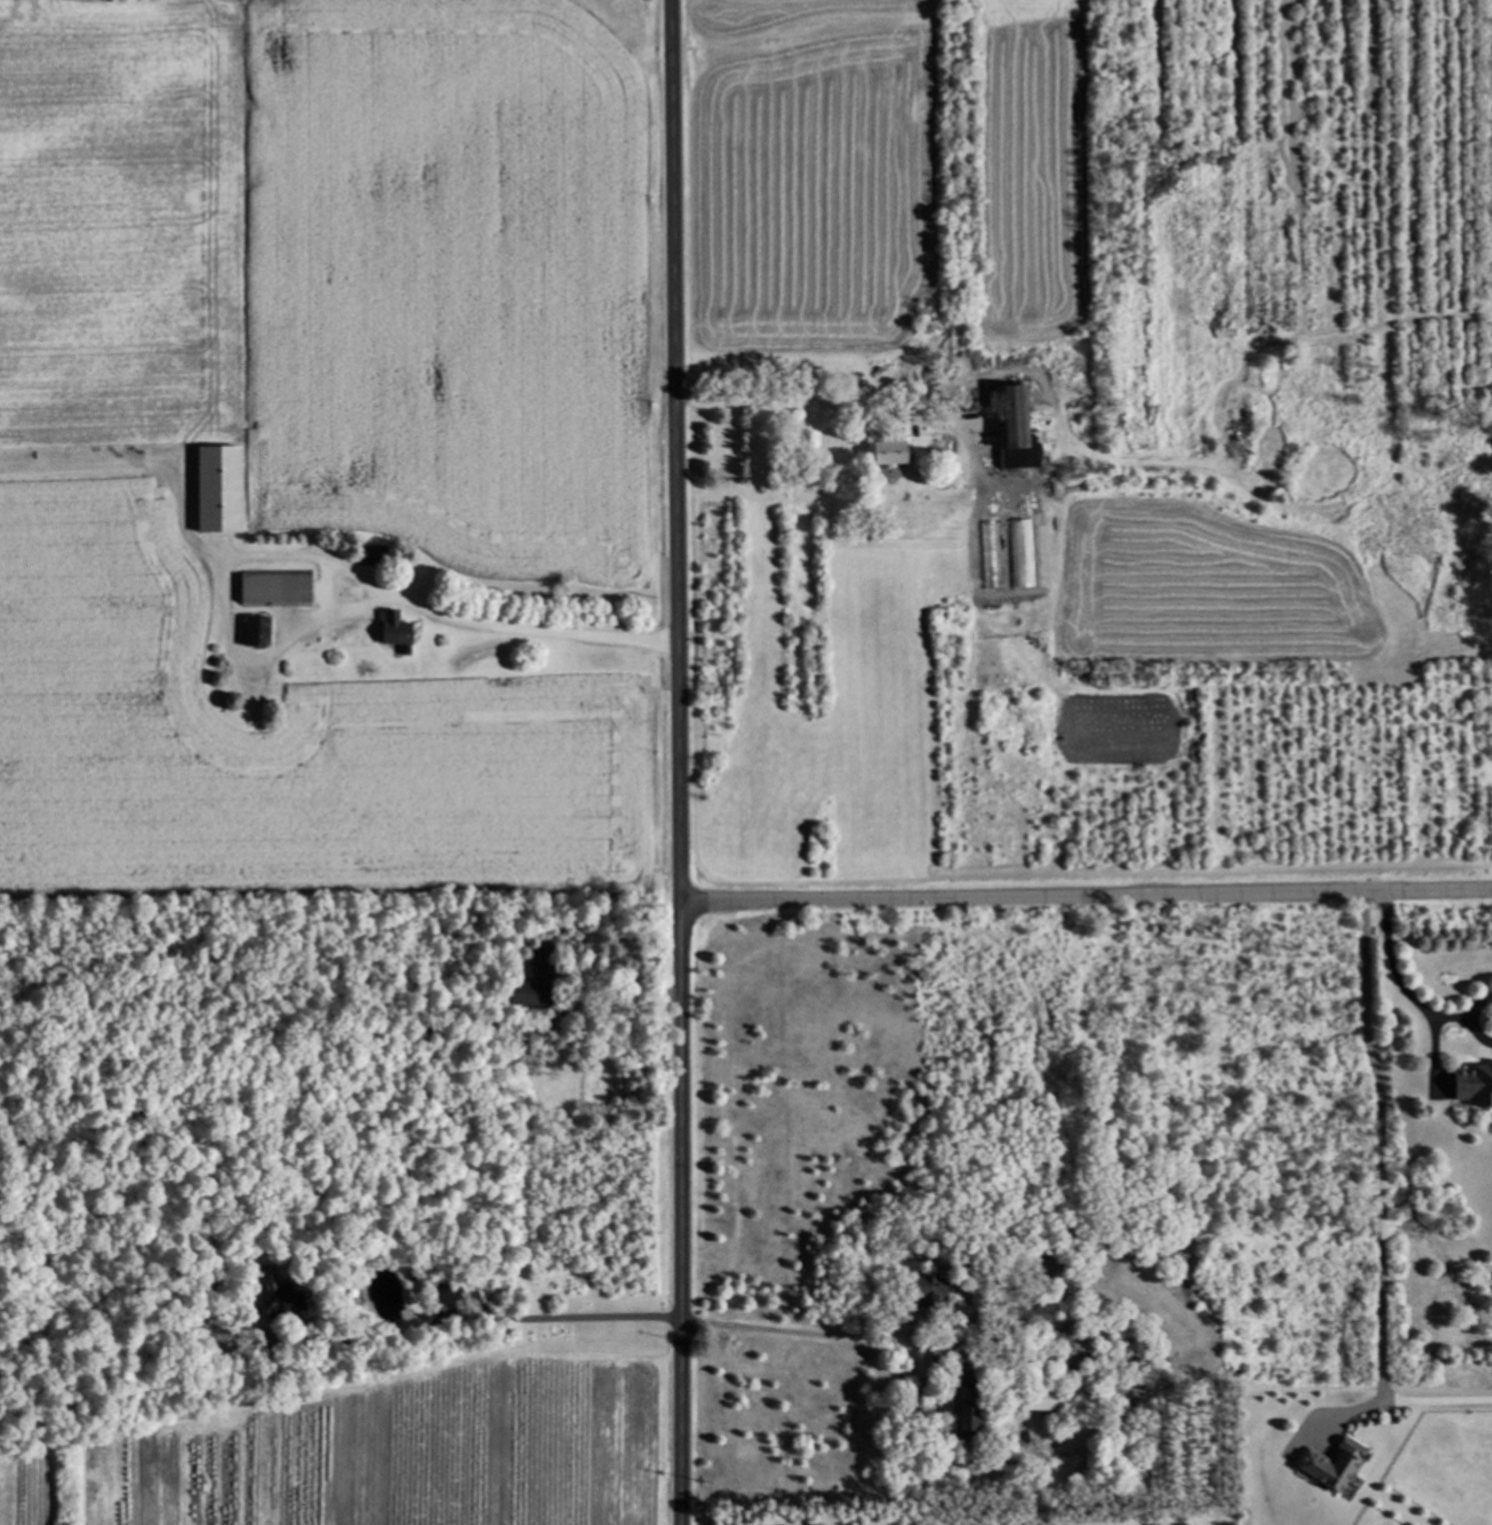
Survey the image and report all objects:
road: (864, 389)
building: (1020, 432)
building: (894, 454)
building: (1021, 556)
building: (989, 557)
building: (372, 558)
building: (278, 592)
road: (325, 619)
building: (396, 632)
building: (259, 634)
road: (686, 762)
road: (1086, 902)
road: (1395, 978)
building: (538, 982)
road: (610, 991)
road: (1474, 1006)
road: (1475, 1033)
building: (1474, 1084)
road: (1380, 1201)
building: (925, 1292)
building: (448, 1294)
building: (285, 1300)
road: (466, 1322)
road: (793, 1328)
road: (1435, 1397)
building: (1038, 1401)
building: (964, 1410)

